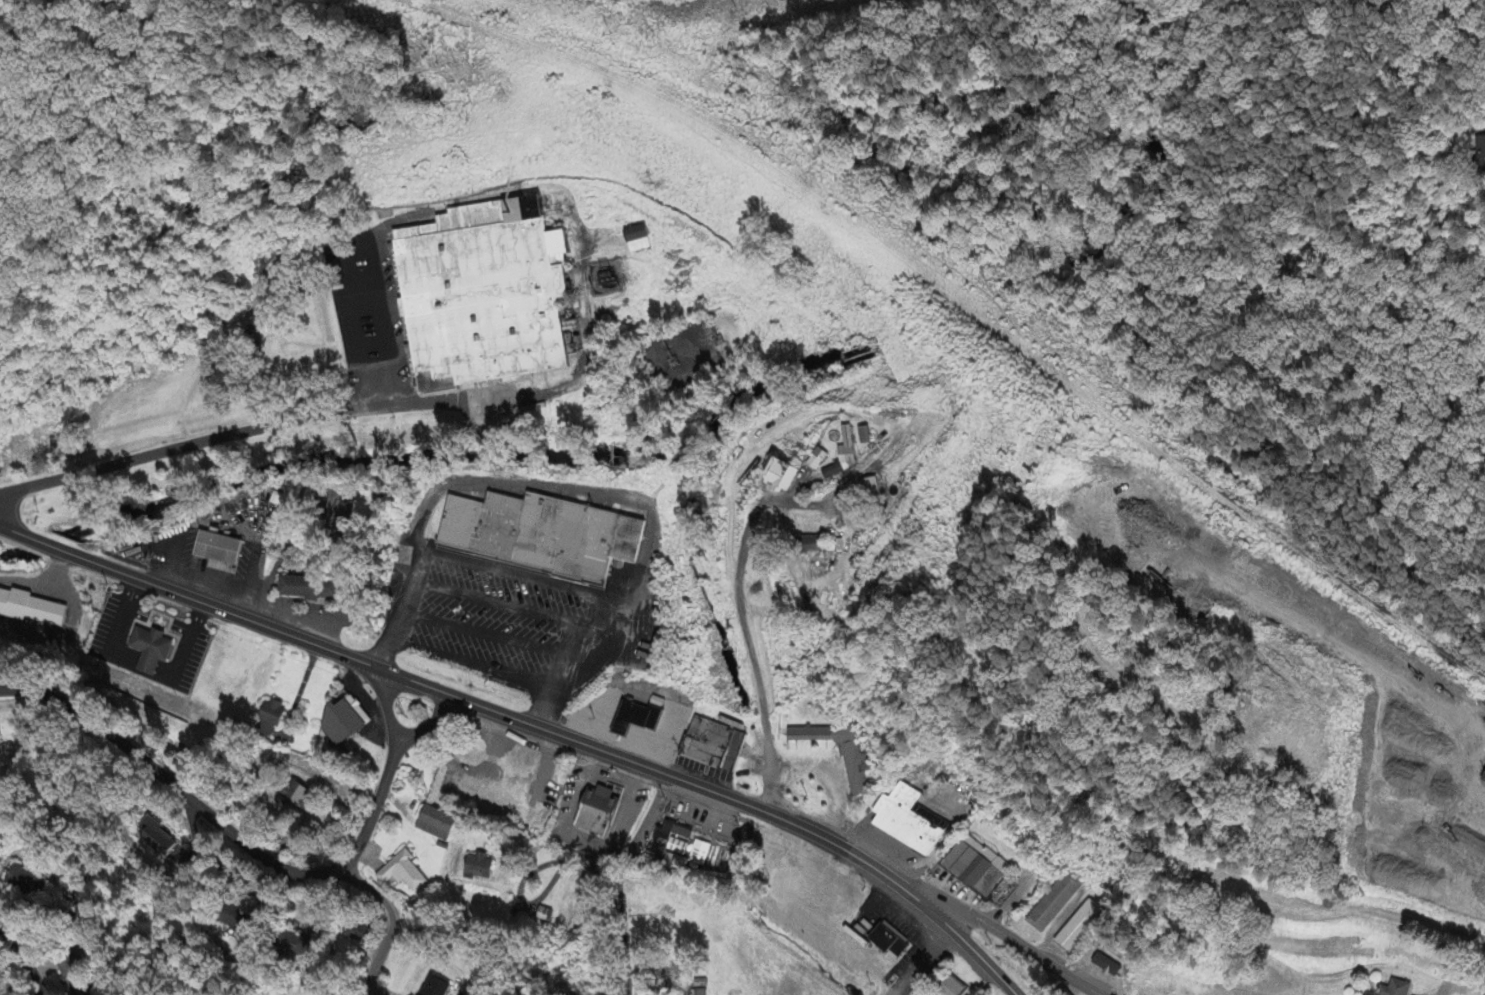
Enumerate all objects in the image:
building: (1480, 156)
road: (1097, 168)
building: (631, 240)
road: (361, 289)
building: (475, 296)
railway: (968, 306)
road: (368, 410)
building: (862, 437)
building: (845, 446)
building: (815, 461)
building: (830, 472)
building: (781, 479)
building: (866, 489)
road: (568, 490)
building: (534, 536)
building: (811, 546)
building: (212, 549)
road: (513, 575)
building: (301, 589)
road: (187, 599)
road: (500, 604)
building: (28, 611)
road: (736, 630)
road: (487, 635)
building: (144, 651)
road: (471, 666)
road: (138, 672)
road: (656, 702)
road: (603, 703)
road: (386, 709)
building: (631, 718)
building: (265, 719)
building: (339, 722)
road: (426, 724)
road: (664, 735)
road: (618, 740)
road: (613, 747)
building: (709, 747)
building: (855, 759)
road: (636, 764)
road: (1467, 768)
building: (1484, 776)
road: (826, 777)
building: (292, 795)
building: (591, 813)
road: (646, 813)
building: (908, 820)
building: (432, 824)
road: (222, 826)
building: (154, 838)
building: (696, 854)
building: (675, 864)
building: (975, 867)
building: (474, 868)
building: (400, 874)
building: (1054, 901)
road: (898, 913)
building: (235, 919)
road: (621, 922)
road: (393, 925)
building: (1079, 926)
building: (355, 933)
road: (954, 934)
road: (1005, 935)
building: (890, 940)
building: (292, 945)
road: (26, 960)
road: (919, 960)
building: (1105, 966)
building: (78, 976)
building: (953, 987)
building: (435, 988)
building: (1397, 988)

